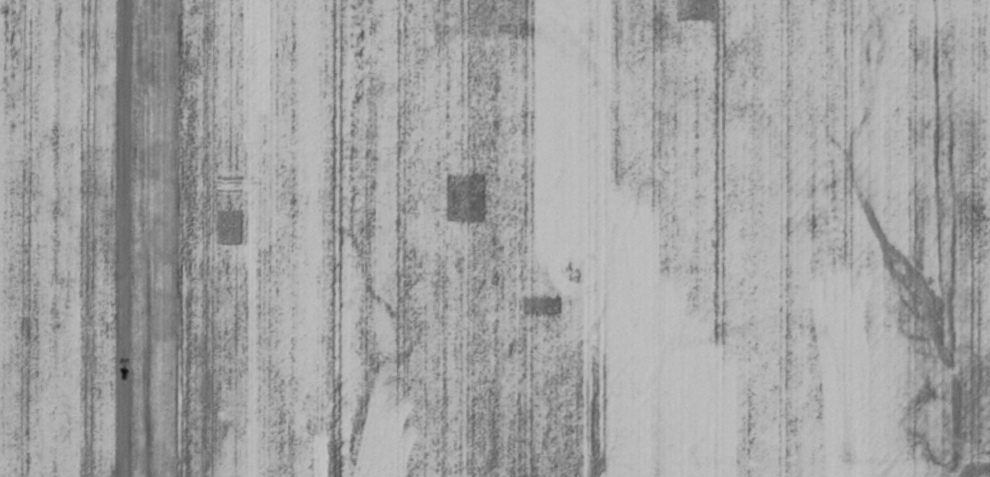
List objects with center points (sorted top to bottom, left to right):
road: (129, 238)

